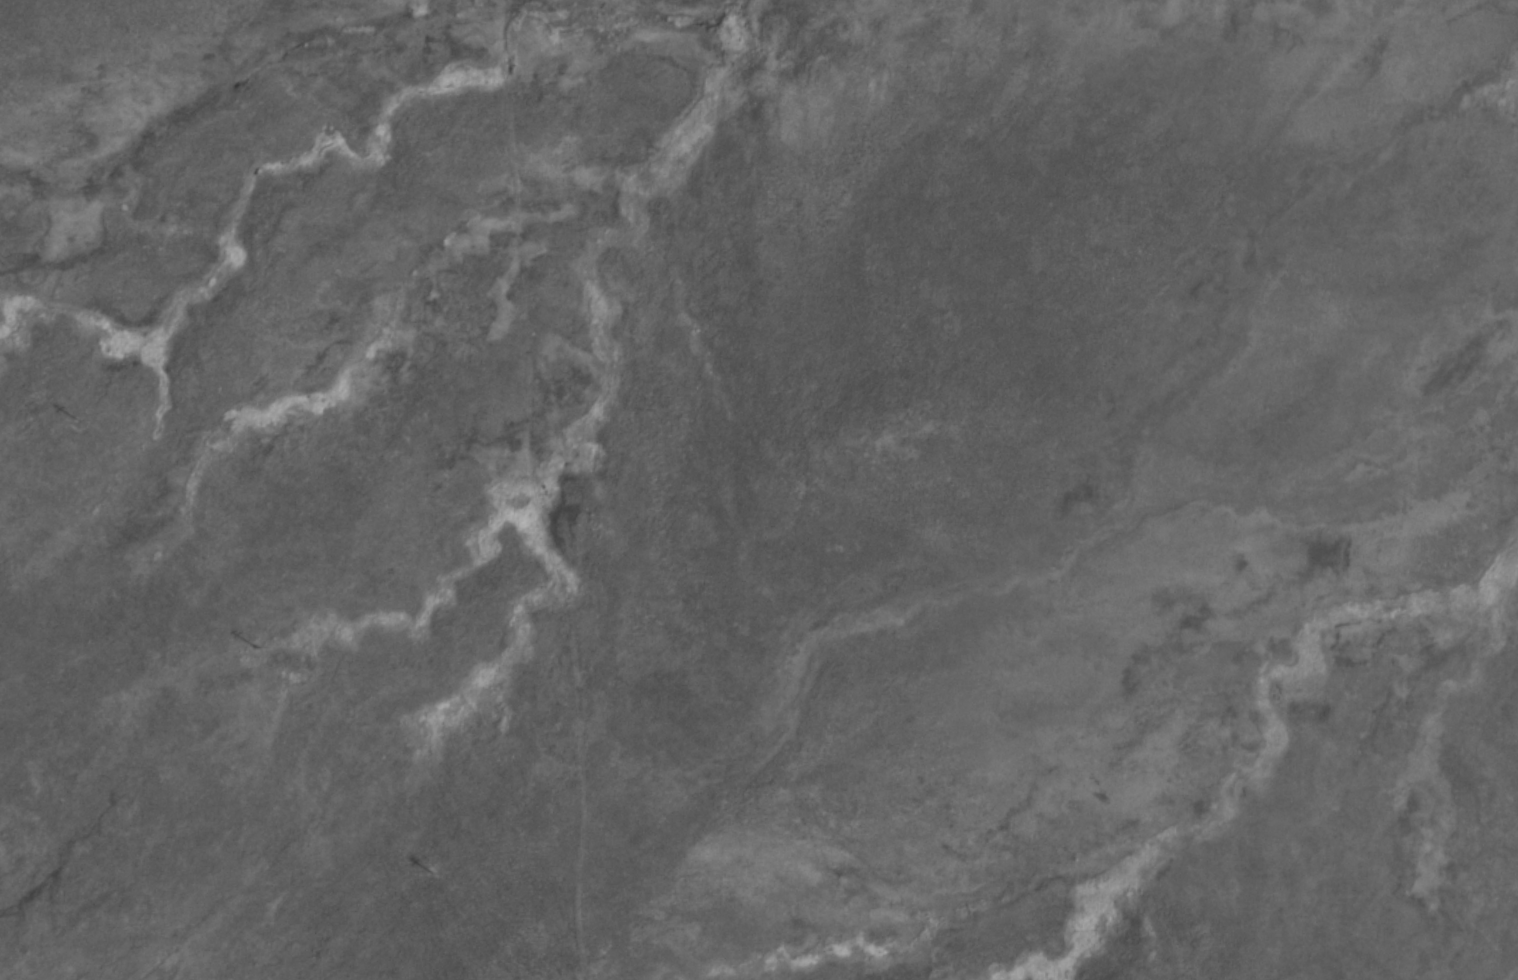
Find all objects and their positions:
power tower: (84, 421)
power tower: (263, 645)
power tower: (440, 875)

